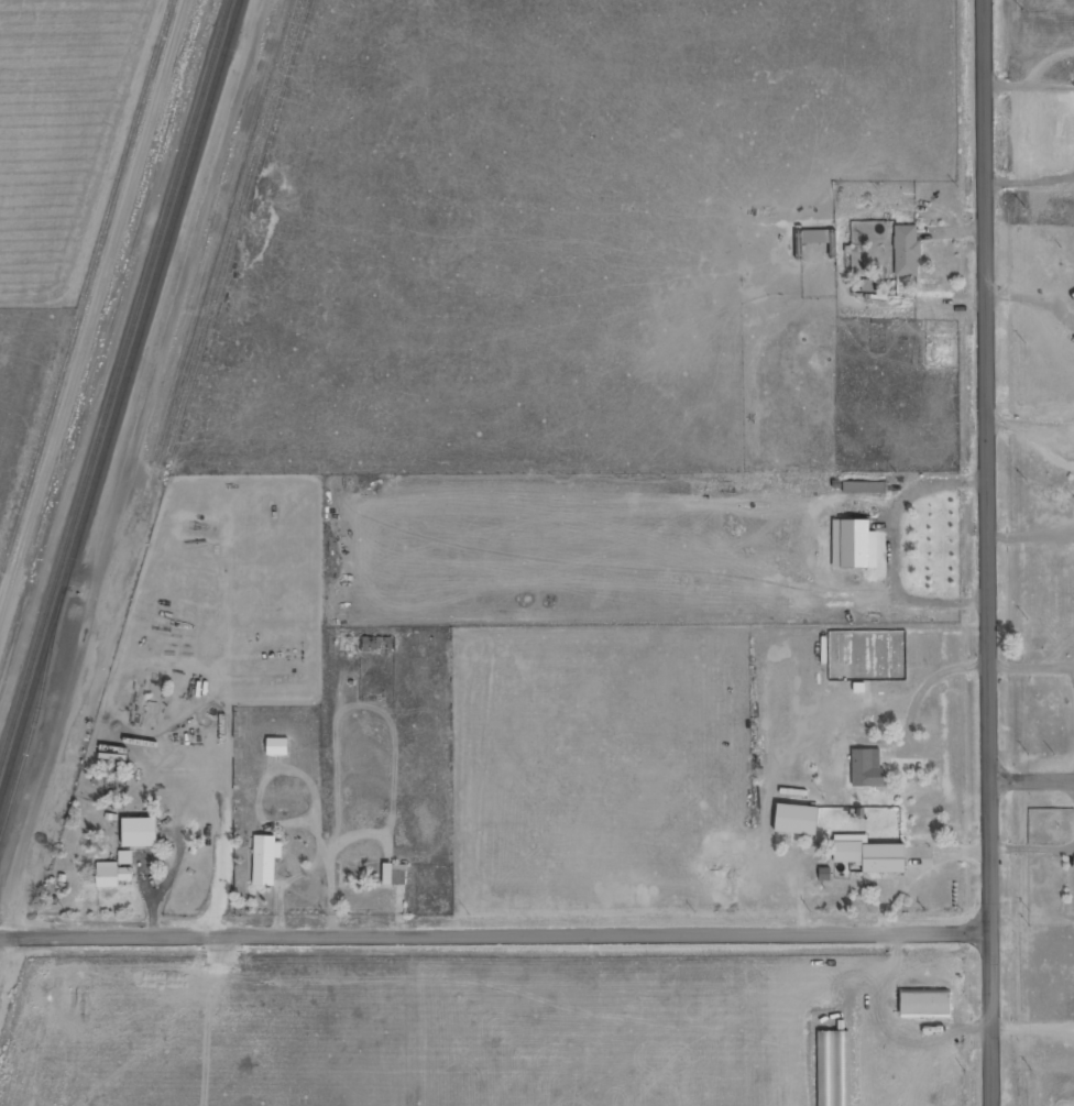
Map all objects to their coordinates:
building: (818, 237)
building: (908, 250)
building: (868, 285)
railway: (116, 386)
railway: (121, 406)
building: (864, 488)
building: (855, 545)
road: (988, 552)
railway: (31, 742)
building: (280, 746)
building: (869, 768)
road: (1032, 778)
building: (800, 819)
building: (143, 832)
building: (876, 856)
building: (127, 857)
building: (266, 858)
building: (113, 874)
building: (396, 874)
building: (826, 874)
road: (495, 932)
building: (929, 1005)

